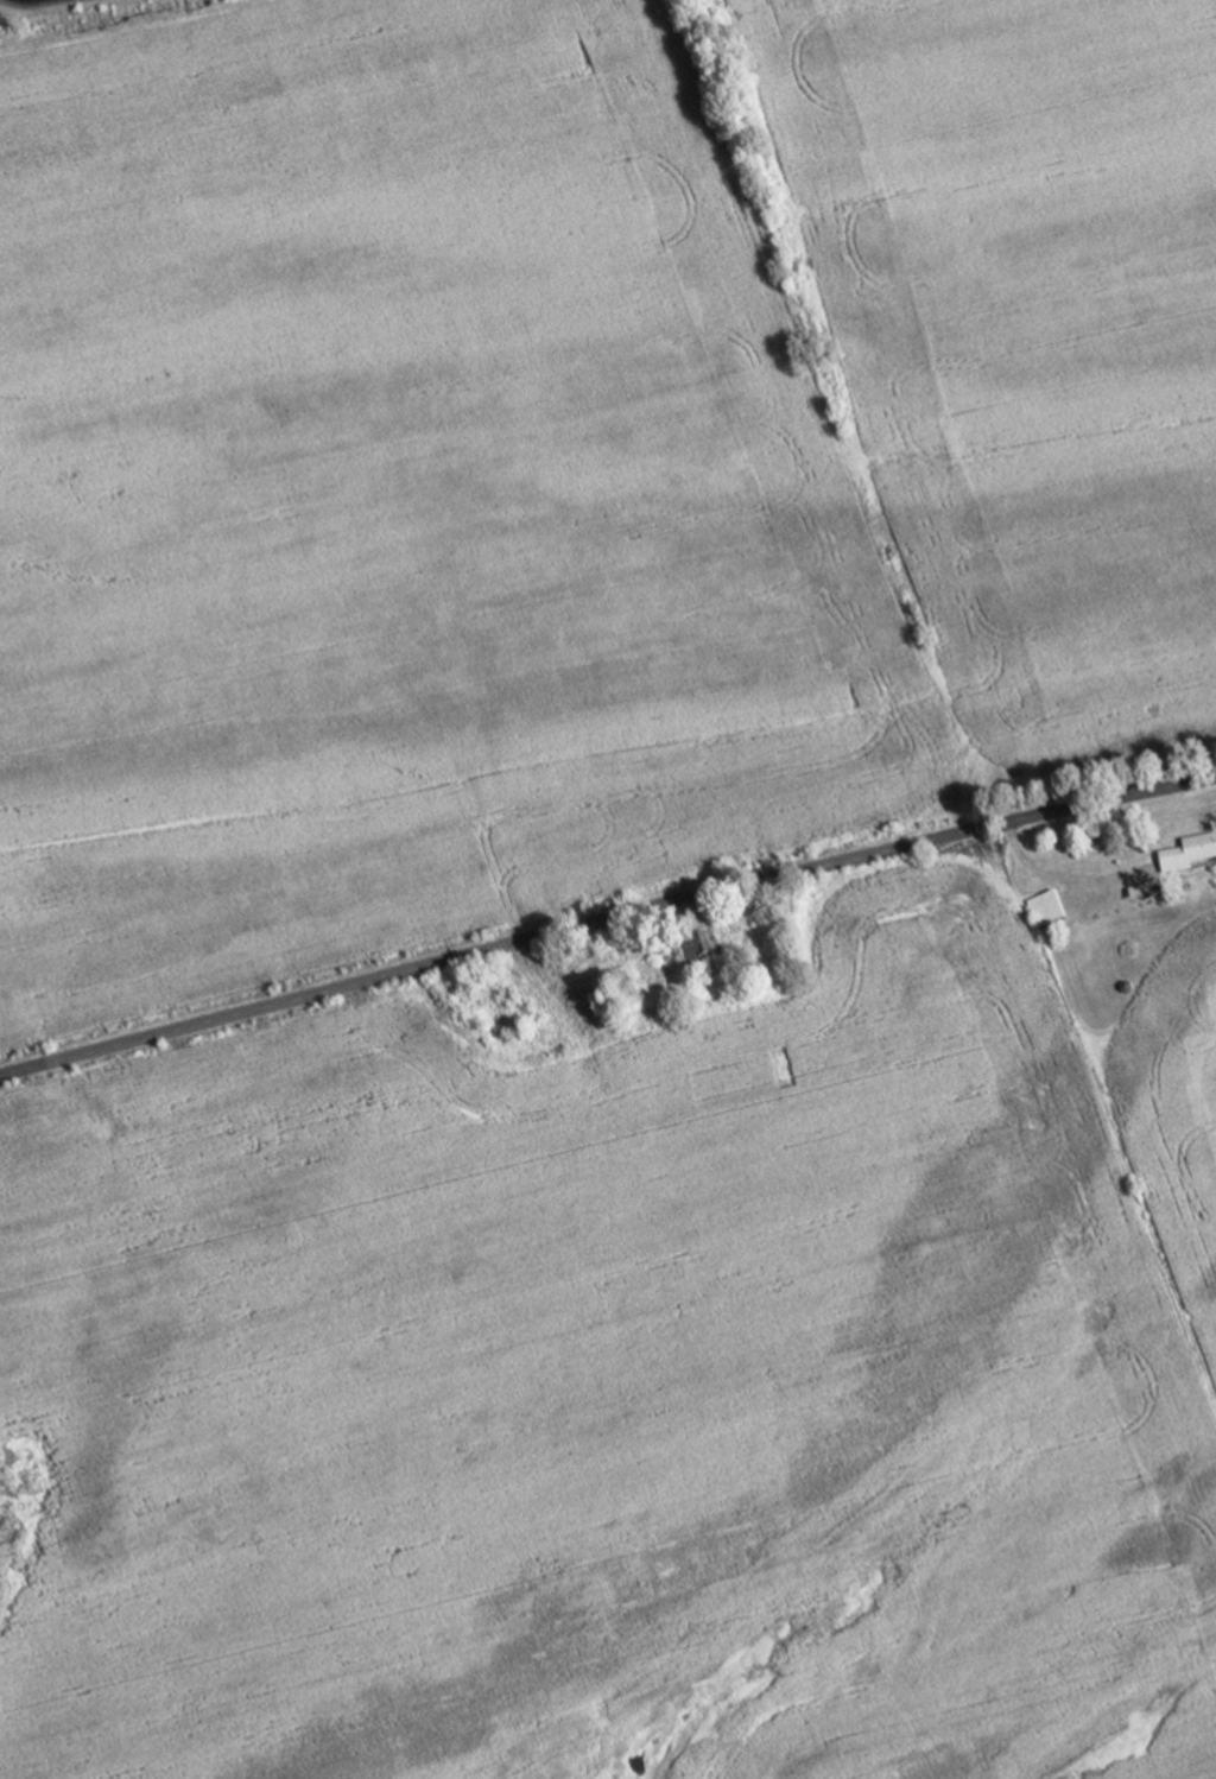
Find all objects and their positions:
road: (606, 917)

